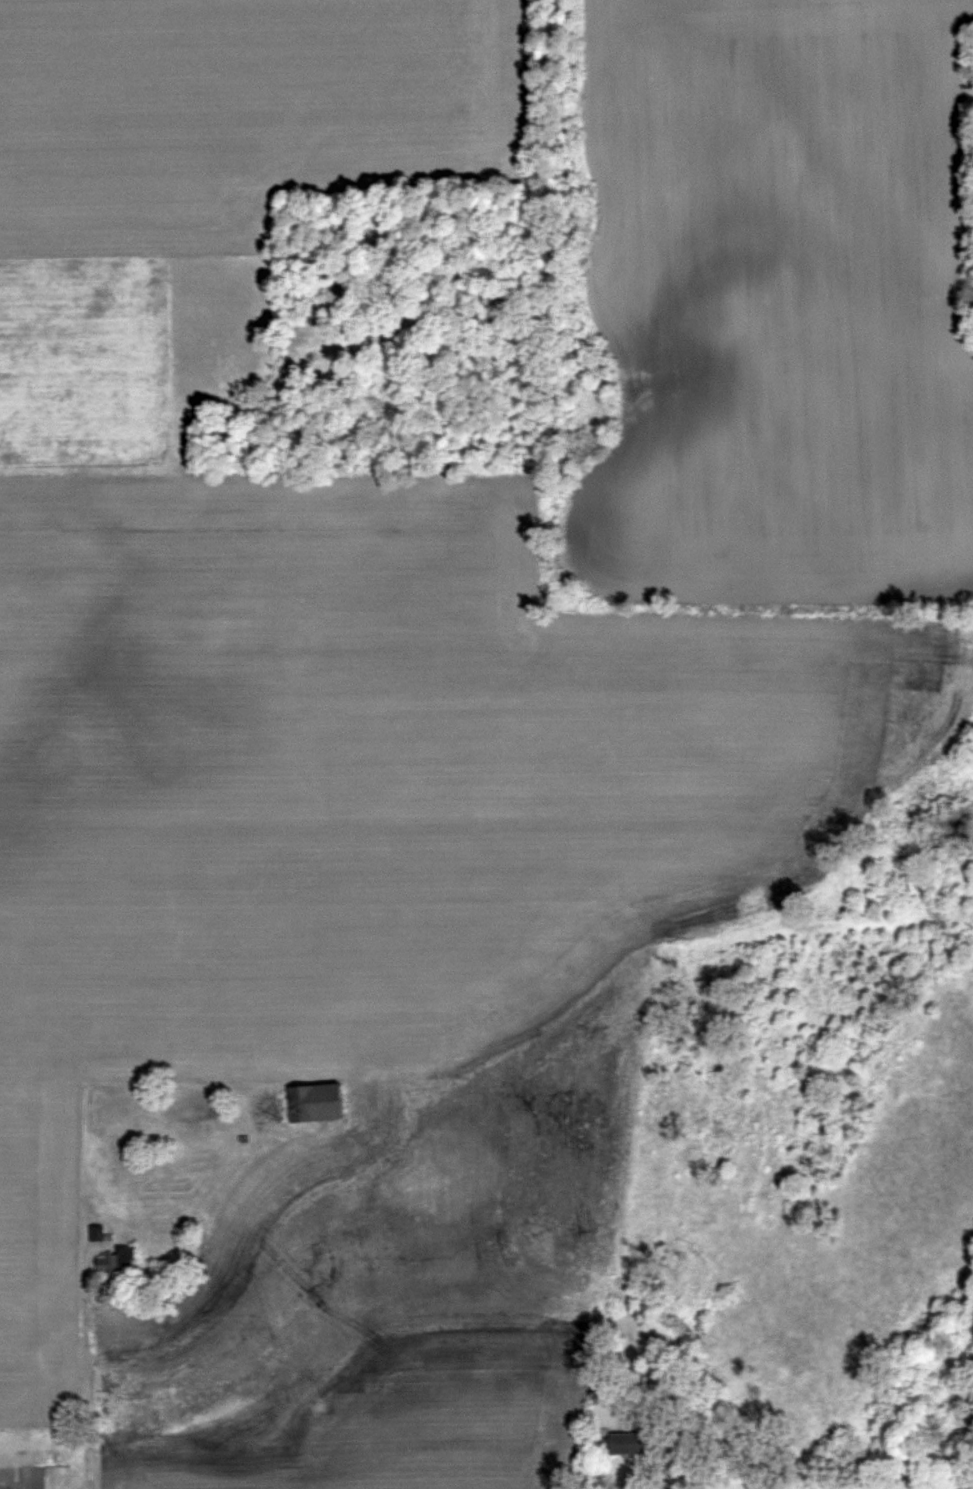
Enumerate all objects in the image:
building: (315, 1101)
building: (96, 1232)
building: (117, 1259)
road: (82, 1358)
building: (626, 1442)

